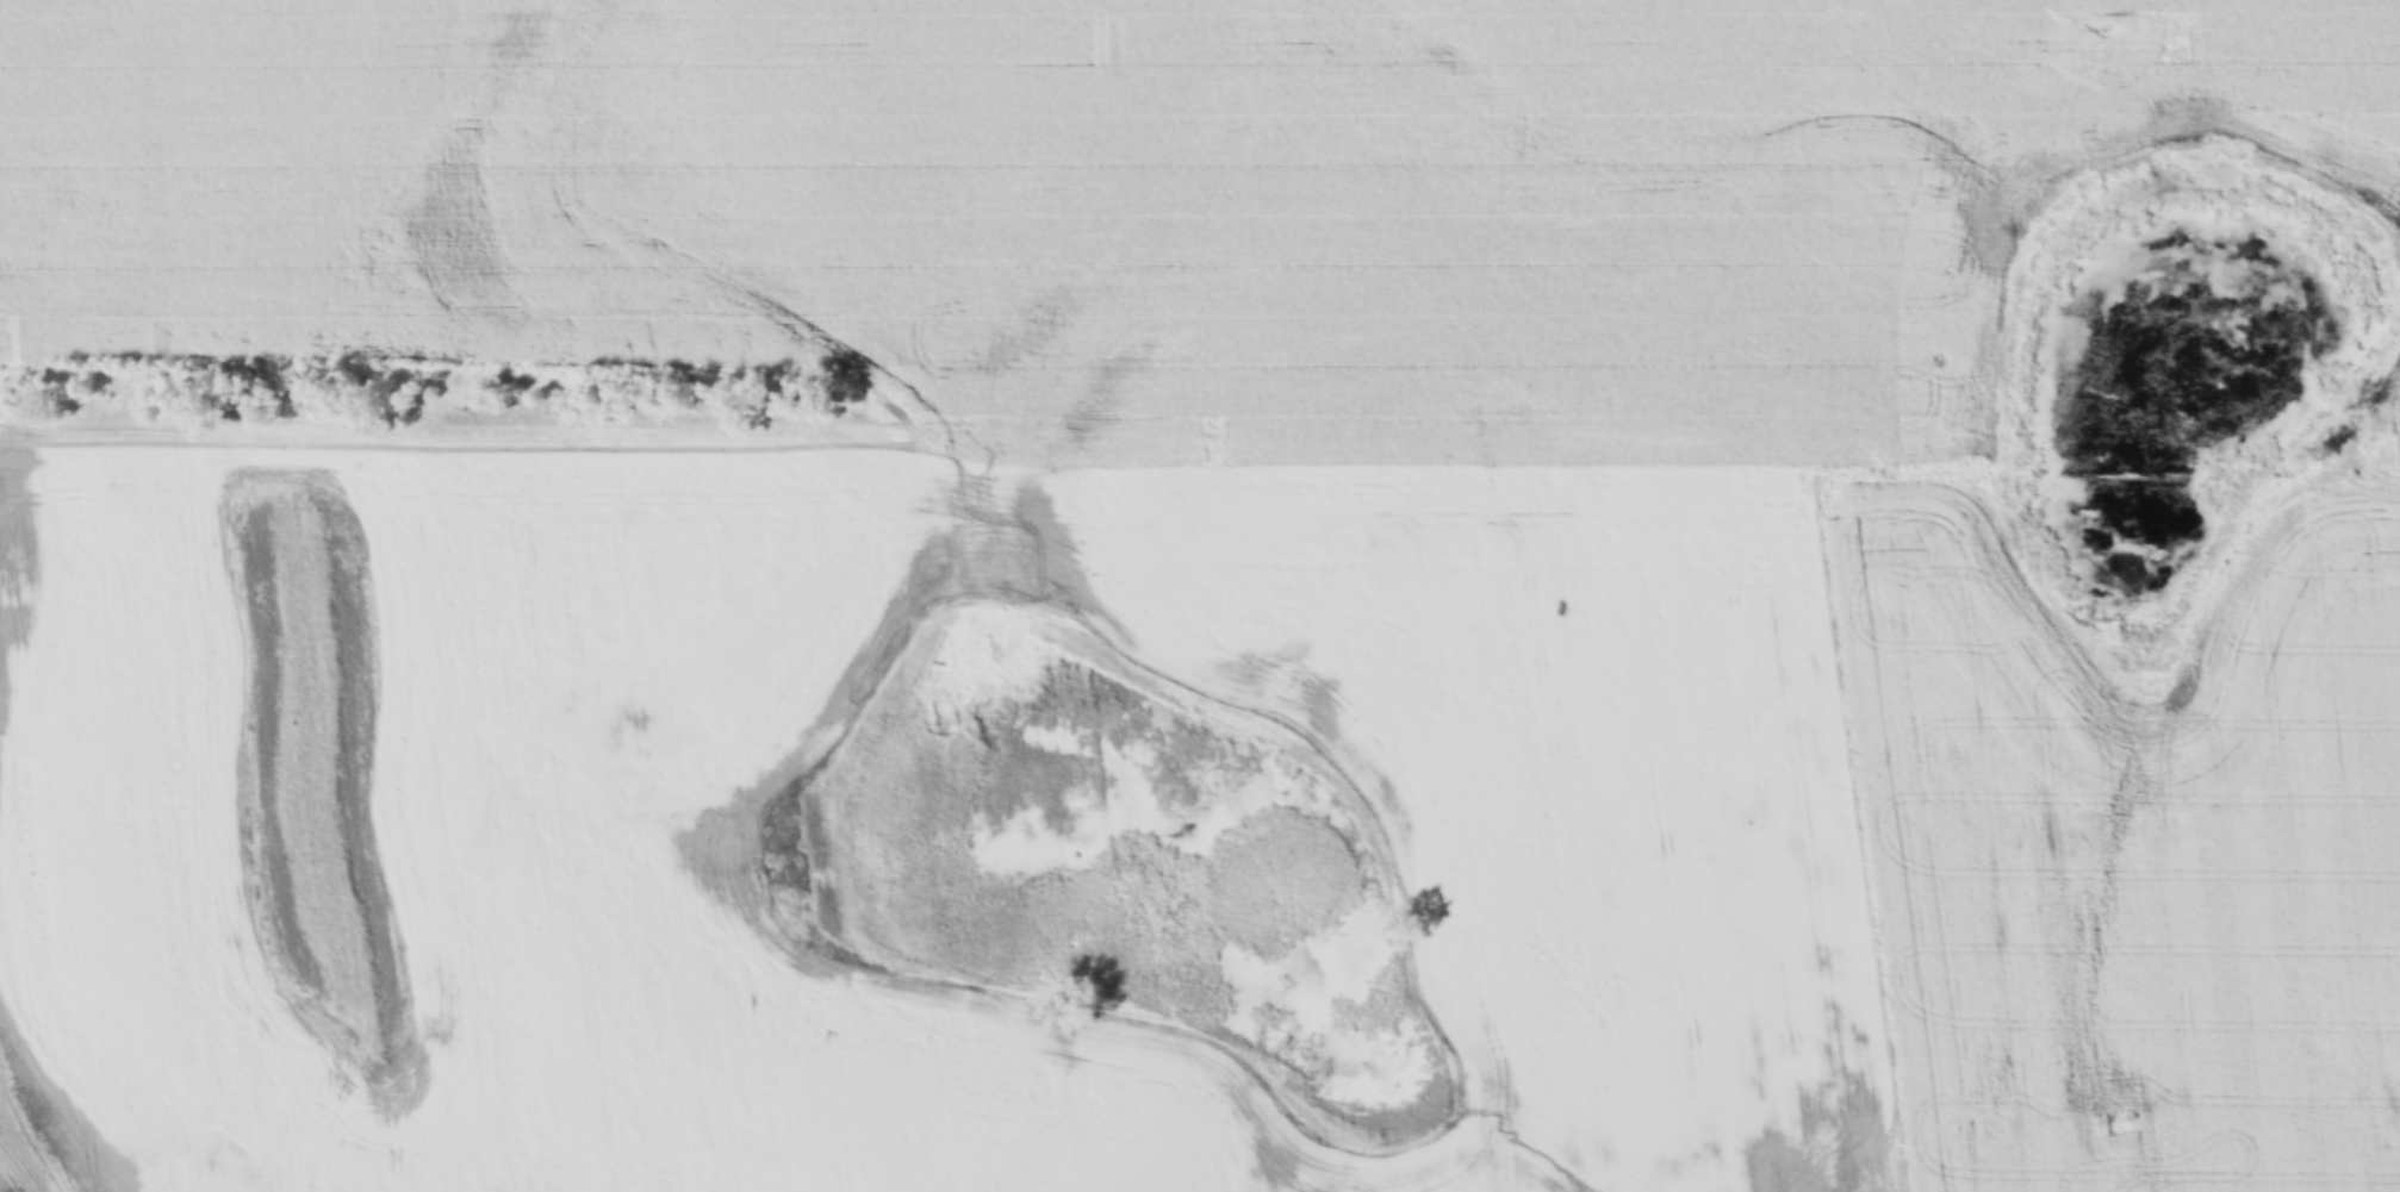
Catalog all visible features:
power tower: (2102, 30)
power tower: (2113, 622)
power tower: (2125, 1121)

